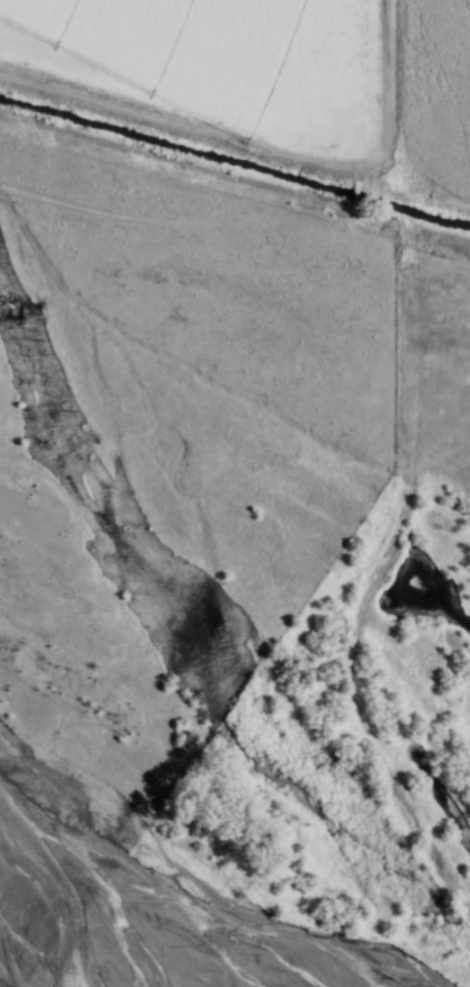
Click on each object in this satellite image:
river: (9, 982)

